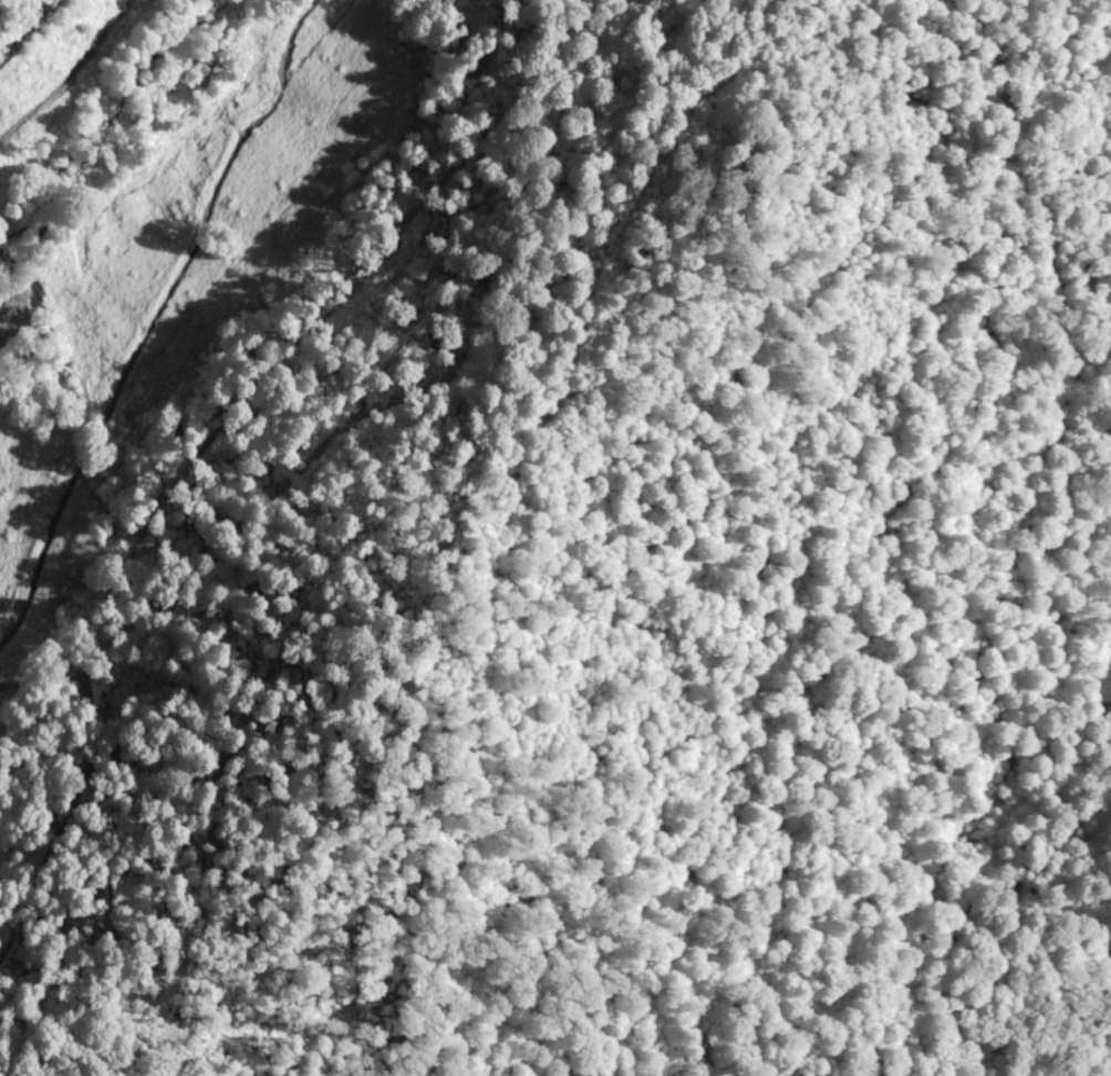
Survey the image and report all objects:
road: (24, 27)

